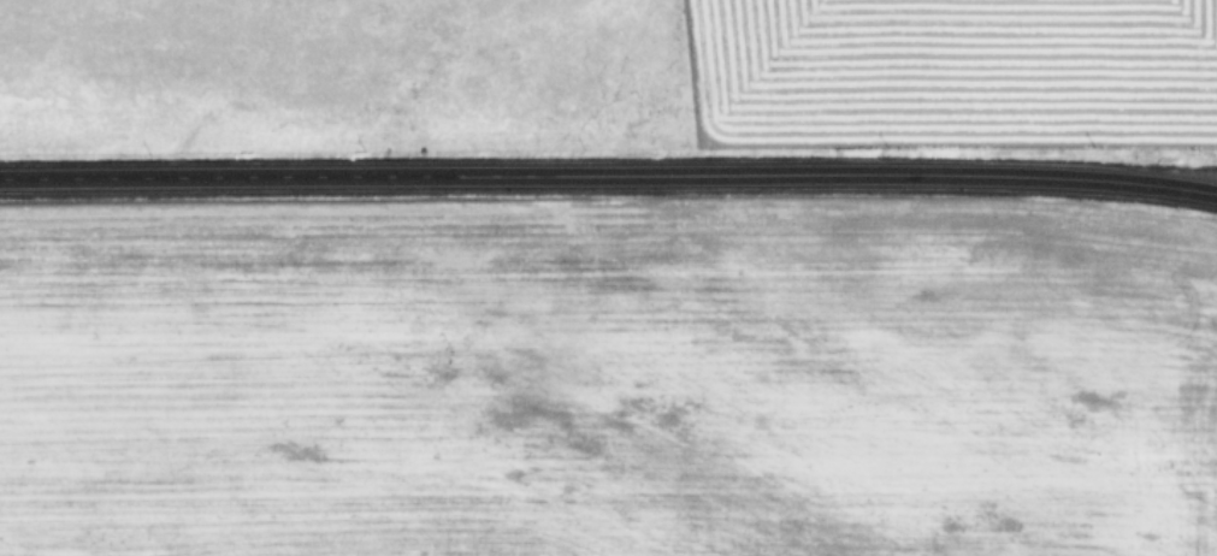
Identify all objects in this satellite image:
road: (608, 173)
crop: (607, 377)

